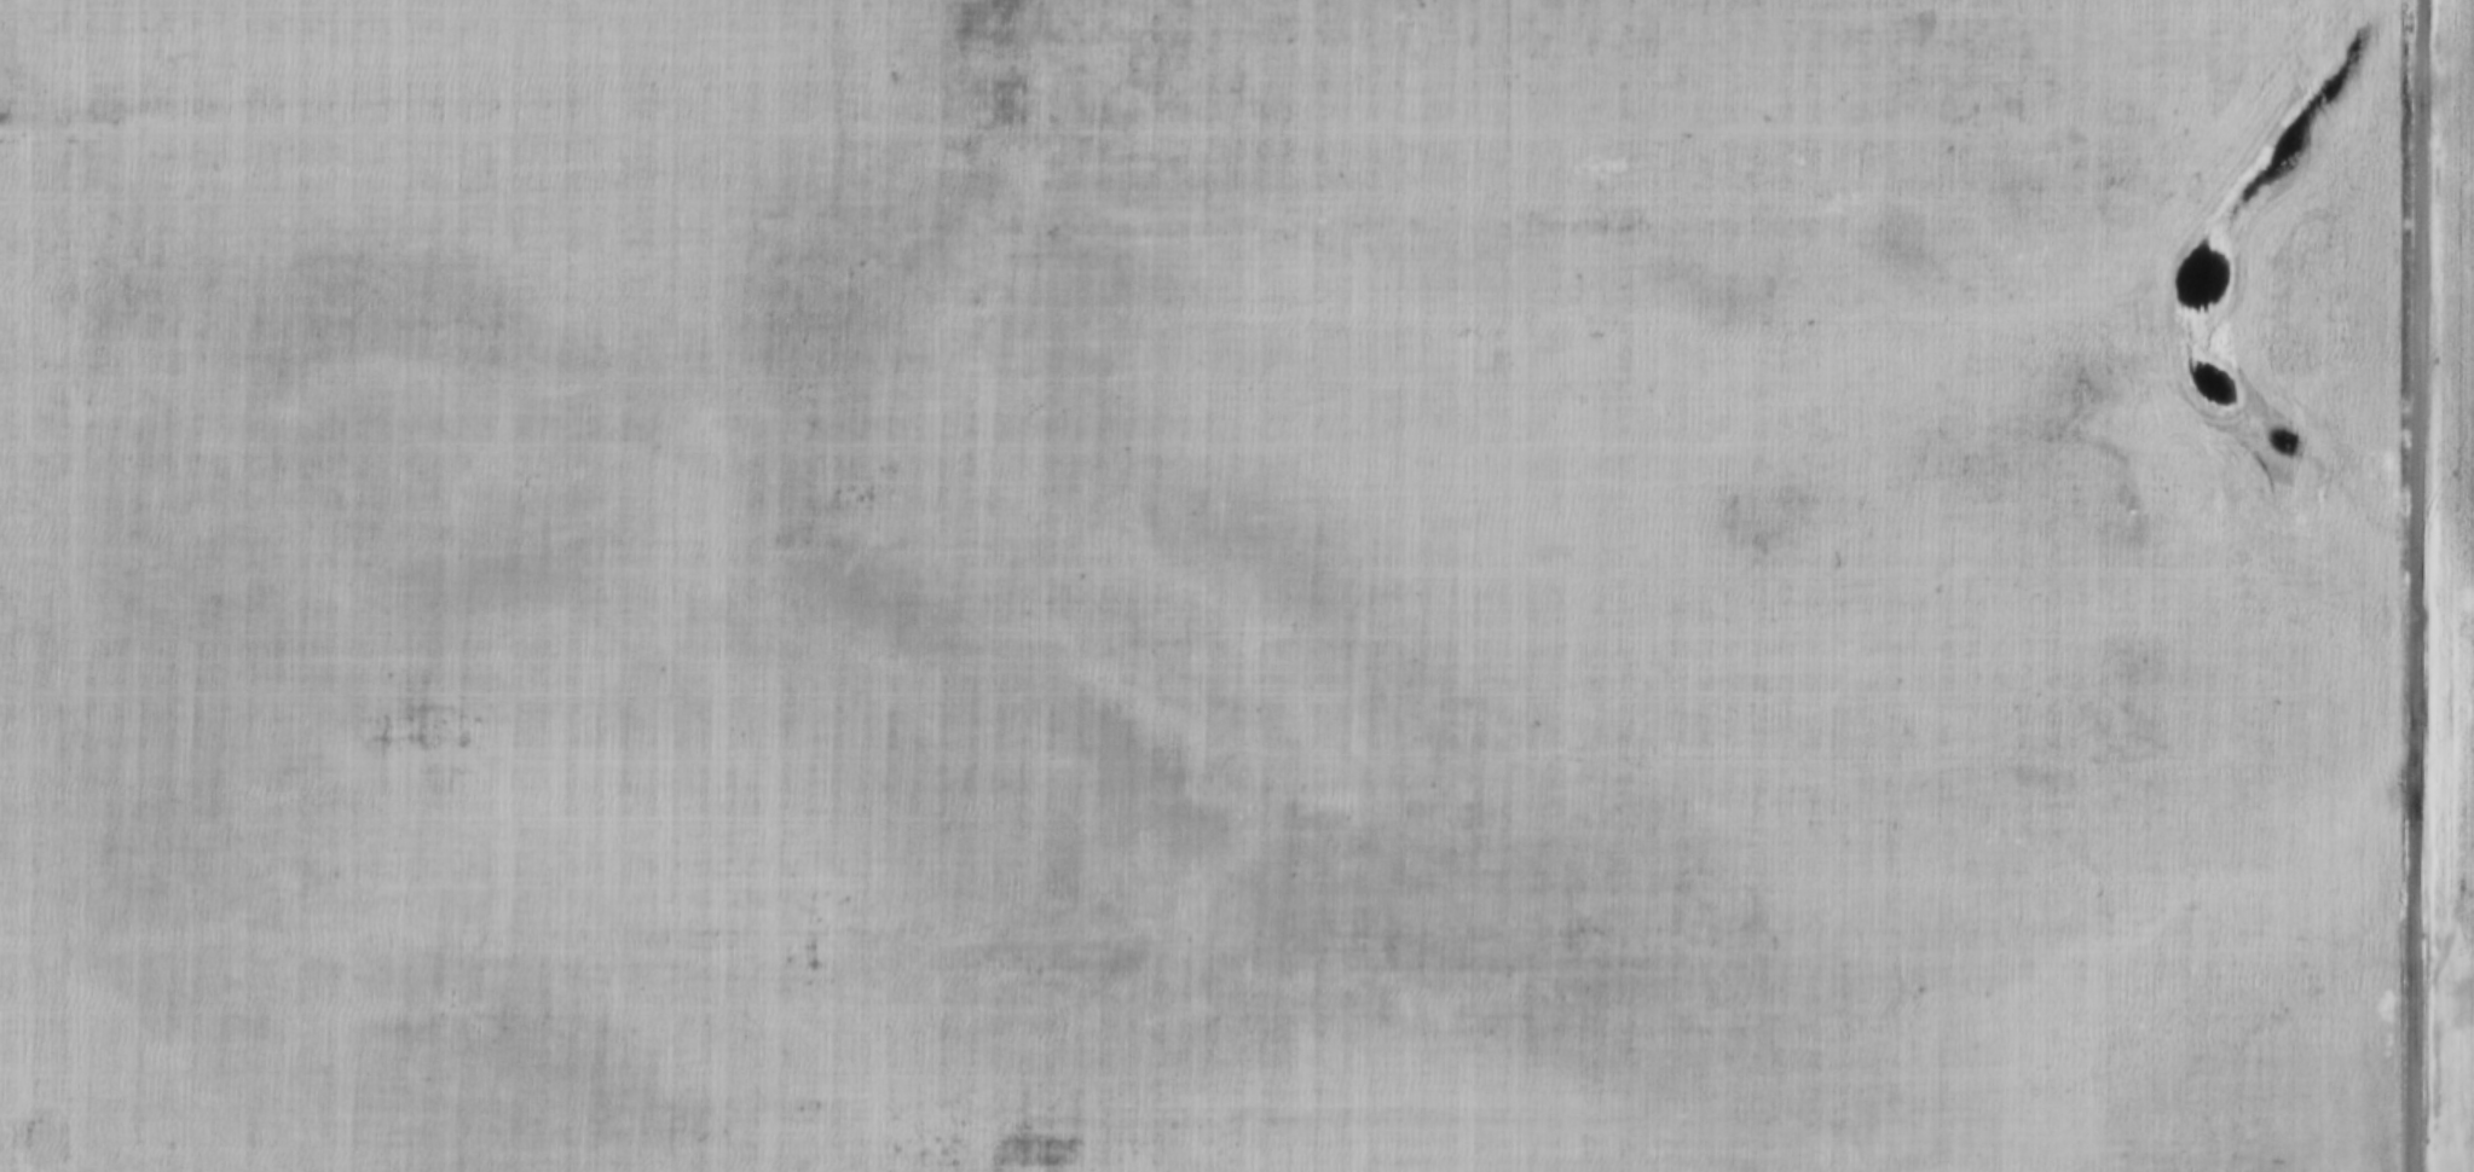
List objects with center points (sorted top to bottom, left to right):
road: (2417, 586)

